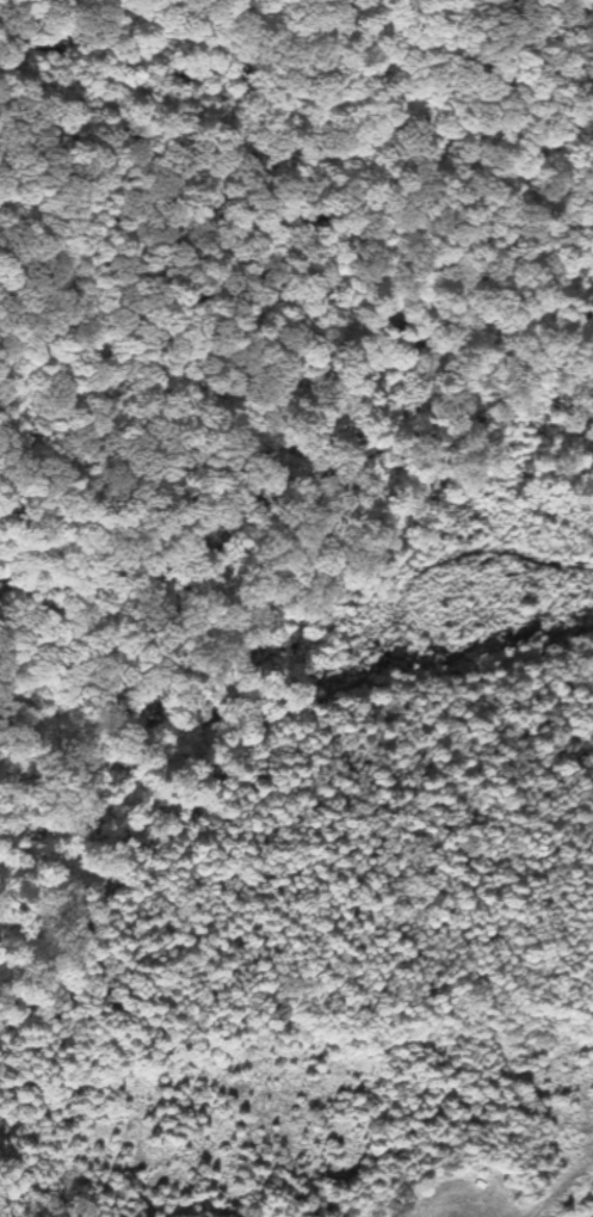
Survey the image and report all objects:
road: (267, 787)

